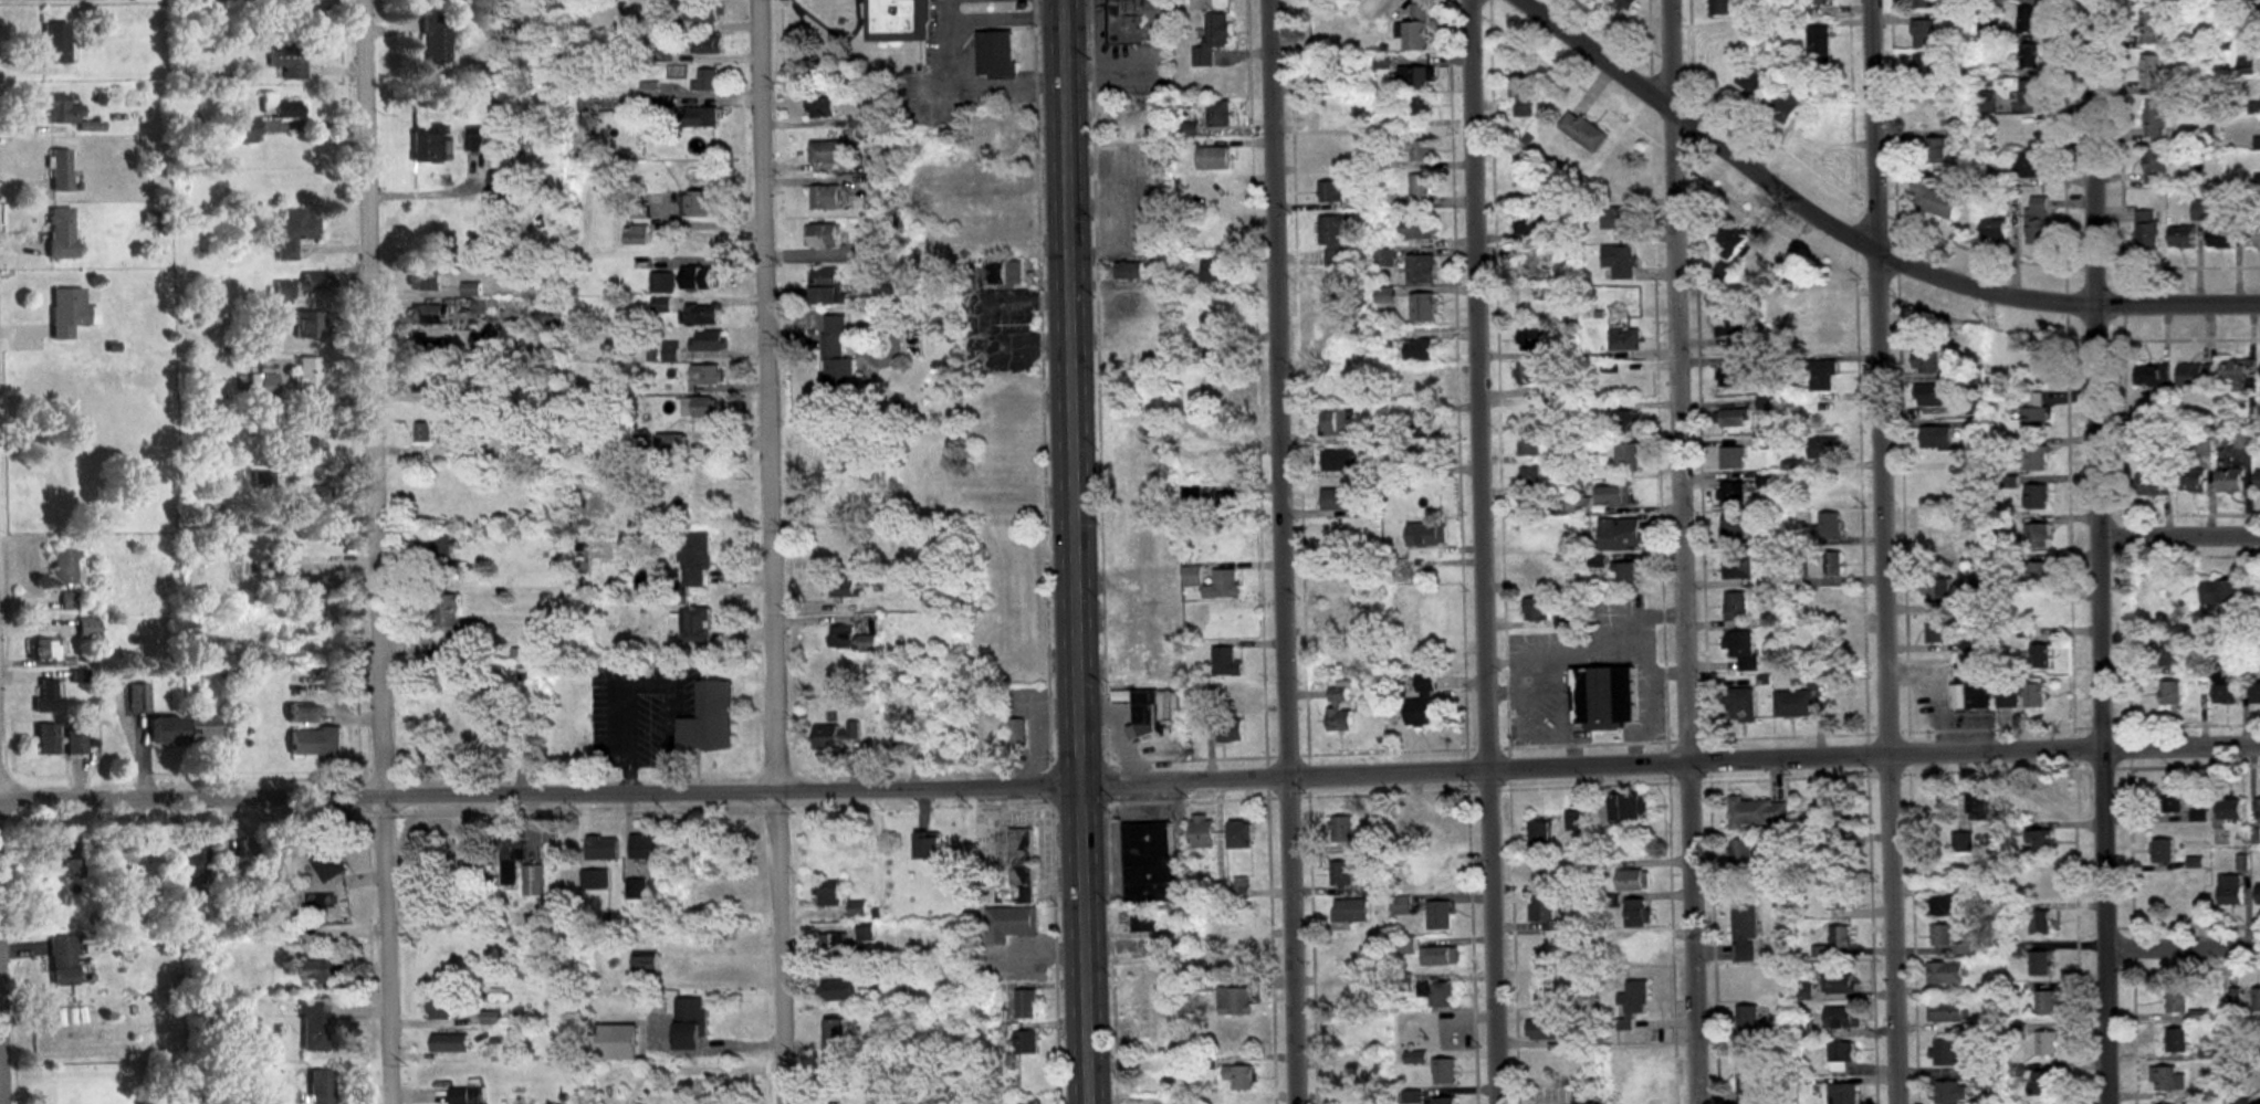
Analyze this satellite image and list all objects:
building: (1818, 2)
building: (1626, 3)
road: (948, 7)
building: (1720, 7)
road: (1006, 11)
building: (703, 13)
building: (2029, 20)
building: (897, 21)
building: (1138, 21)
building: (2154, 27)
building: (1419, 28)
building: (1925, 33)
building: (1213, 40)
building: (2205, 40)
building: (436, 41)
building: (54, 43)
building: (1820, 44)
building: (705, 45)
building: (995, 54)
building: (2029, 57)
building: (289, 60)
building: (1926, 66)
building: (2153, 72)
building: (1326, 73)
building: (1414, 78)
building: (705, 81)
road: (976, 82)
building: (1754, 82)
building: (2031, 93)
building: (1523, 95)
building: (1986, 102)
building: (1783, 105)
building: (1424, 107)
building: (819, 108)
building: (285, 109)
building: (61, 111)
building: (1220, 114)
building: (1328, 115)
building: (1936, 115)
building: (702, 118)
building: (2156, 120)
building: (242, 130)
building: (1822, 130)
building: (1583, 132)
building: (474, 138)
building: (2258, 144)
building: (429, 147)
building: (1937, 150)
building: (1419, 151)
building: (826, 154)
building: (1214, 159)
building: (2034, 166)
building: (2156, 167)
building: (61, 170)
building: (501, 182)
building: (1525, 188)
building: (1621, 188)
building: (1421, 189)
building: (1330, 192)
building: (1220, 198)
building: (825, 199)
building: (1935, 199)
building: (698, 204)
building: (638, 211)
building: (2039, 221)
building: (1620, 223)
building: (1531, 224)
building: (988, 228)
building: (1421, 230)
building: (1995, 230)
building: (2147, 230)
building: (294, 232)
building: (60, 234)
building: (636, 235)
building: (823, 236)
building: (2183, 236)
building: (2221, 236)
building: (2253, 238)
building: (1218, 240)
road: (1856, 241)
building: (1333, 242)
building: (1621, 261)
building: (1532, 267)
building: (1421, 270)
building: (1129, 271)
building: (1003, 273)
building: (1217, 276)
building: (697, 278)
building: (425, 281)
building: (313, 282)
building: (662, 283)
building: (824, 287)
building: (283, 290)
building: (470, 290)
building: (1335, 295)
building: (661, 305)
building: (1531, 306)
building: (1423, 307)
building: (479, 308)
building: (70, 313)
building: (430, 315)
building: (700, 315)
building: (307, 324)
building: (1731, 324)
building: (1828, 333)
building: (1531, 338)
building: (1625, 338)
building: (709, 340)
building: (266, 341)
building: (478, 343)
building: (1336, 345)
building: (1738, 345)
building: (427, 350)
building: (1421, 351)
building: (1212, 354)
building: (1927, 361)
building: (838, 362)
building: (306, 371)
building: (2031, 371)
building: (1534, 374)
building: (2241, 374)
building: (2196, 375)
building: (708, 376)
building: (1734, 376)
building: (1823, 376)
building: (2153, 376)
building: (263, 381)
building: (1624, 382)
building: (430, 383)
building: (1426, 389)
building: (1211, 390)
building: (1931, 395)
building: (700, 408)
building: (1531, 416)
building: (1736, 418)
building: (2036, 420)
building: (1626, 421)
building: (1338, 423)
building: (1223, 425)
building: (1425, 429)
building: (423, 434)
building: (1936, 438)
building: (671, 444)
building: (1531, 444)
building: (1825, 448)
building: (296, 449)
building: (1629, 456)
building: (1733, 458)
building: (1424, 459)
building: (2036, 459)
building: (1339, 461)
building: (1221, 470)
building: (1531, 475)
building: (461, 479)
building: (2157, 479)
building: (2193, 480)
building: (2231, 480)
building: (2259, 480)
building: (1829, 485)
building: (1614, 495)
building: (1733, 495)
building: (2038, 496)
building: (311, 497)
building: (997, 497)
building: (1338, 500)
building: (1228, 504)
building: (1581, 505)
building: (1369, 507)
building: (479, 518)
building: (1828, 524)
building: (1736, 526)
building: (1370, 532)
building: (1427, 534)
building: (1621, 534)
building: (2037, 536)
road: (2183, 537)
building: (1935, 540)
building: (442, 544)
building: (1336, 544)
road: (380, 551)
road: (778, 551)
road: (1081, 551)
road: (1288, 551)
road: (1486, 551)
road: (1691, 551)
road: (1888, 551)
road: (2105, 551)
building: (695, 558)
building: (1827, 562)
building: (65, 567)
building: (1738, 567)
building: (1537, 570)
building: (1625, 572)
building: (2038, 574)
building: (1795, 576)
building: (1215, 582)
building: (316, 585)
building: (845, 588)
building: (1939, 589)
building: (2229, 591)
building: (1827, 596)
building: (70, 601)
building: (1737, 607)
building: (1537, 609)
building: (1336, 610)
building: (327, 617)
building: (449, 620)
building: (695, 623)
building: (1000, 624)
building: (87, 628)
building: (1939, 630)
building: (851, 640)
building: (1431, 642)
building: (1829, 645)
building: (1743, 649)
building: (44, 650)
building: (2173, 654)
building: (1166, 655)
building: (2041, 655)
building: (1226, 662)
building: (1816, 679)
building: (2257, 692)
building: (1985, 693)
building: (2172, 693)
building: (2227, 693)
building: (2036, 694)
building: (1232, 695)
building: (46, 697)
building: (138, 697)
building: (1604, 698)
building: (1422, 702)
building: (1795, 704)
building: (1741, 705)
building: (1841, 705)
building: (1338, 708)
building: (302, 711)
building: (1143, 715)
building: (709, 718)
building: (203, 727)
building: (164, 730)
building: (1224, 732)
building: (1016, 733)
building: (835, 735)
building: (896, 737)
building: (44, 738)
building: (74, 742)
building: (314, 742)
building: (504, 743)
road: (1130, 789)
building: (2173, 800)
building: (1980, 806)
building: (1630, 808)
building: (2230, 809)
building: (2259, 810)
building: (1758, 813)
building: (1576, 821)
building: (1848, 826)
building: (1425, 827)
building: (1341, 829)
building: (1202, 831)
building: (1238, 834)
building: (1540, 834)
building: (2041, 841)
building: (1963, 842)
building: (724, 843)
building: (1372, 844)
building: (928, 845)
building: (646, 847)
building: (603, 848)
building: (254, 849)
building: (46, 851)
building: (2164, 851)
building: (1745, 853)
building: (123, 855)
building: (511, 856)
building: (324, 858)
building: (1017, 859)
building: (192, 862)
building: (1152, 865)
building: (73, 869)
building: (1541, 869)
building: (1341, 873)
building: (1437, 875)
building: (533, 880)
building: (1633, 880)
building: (2043, 883)
building: (1241, 887)
building: (2231, 890)
building: (829, 893)
building: (2175, 895)
building: (2259, 895)
building: (1840, 898)
building: (858, 906)
building: (1944, 906)
building: (1350, 911)
building: (1638, 913)
building: (1545, 914)
road: (4, 915)
building: (1438, 915)
building: (1141, 923)
building: (2039, 923)
building: (1011, 924)
building: (1744, 930)
building: (292, 938)
building: (1949, 938)
building: (1835, 942)
road: (2187, 944)
building: (831, 947)
building: (1635, 954)
building: (1440, 956)
building: (1345, 957)
building: (1239, 959)
building: (63, 960)
building: (645, 963)
building: (2040, 964)
building: (1945, 974)
building: (323, 975)
building: (1837, 984)
building: (838, 991)
building: (1544, 991)
building: (1437, 993)
building: (1342, 998)
building: (1235, 1001)
building: (2177, 1001)
building: (2256, 1001)
building: (1632, 1003)
building: (2045, 1003)
building: (1026, 1005)
building: (439, 1009)
building: (1949, 1012)
building: (1842, 1018)
building: (1748, 1019)
building: (689, 1024)
building: (313, 1028)
building: (80, 1029)
building: (1549, 1030)
building: (1405, 1031)
building: (1347, 1033)
building: (836, 1034)
building: (2177, 1040)
building: (617, 1042)
building: (1027, 1042)
building: (449, 1043)
building: (2047, 1044)
building: (1946, 1053)
building: (1841, 1056)
building: (1443, 1072)
building: (1352, 1075)
building: (1241, 1077)
building: (1749, 1079)
building: (2168, 1079)
building: (1641, 1080)
building: (1986, 1082)
building: (2042, 1083)
building: (1150, 1084)
building: (320, 1087)
building: (1949, 1093)
building: (1843, 1094)
building: (459, 1095)
building: (1584, 1098)
building: (1440, 1101)

